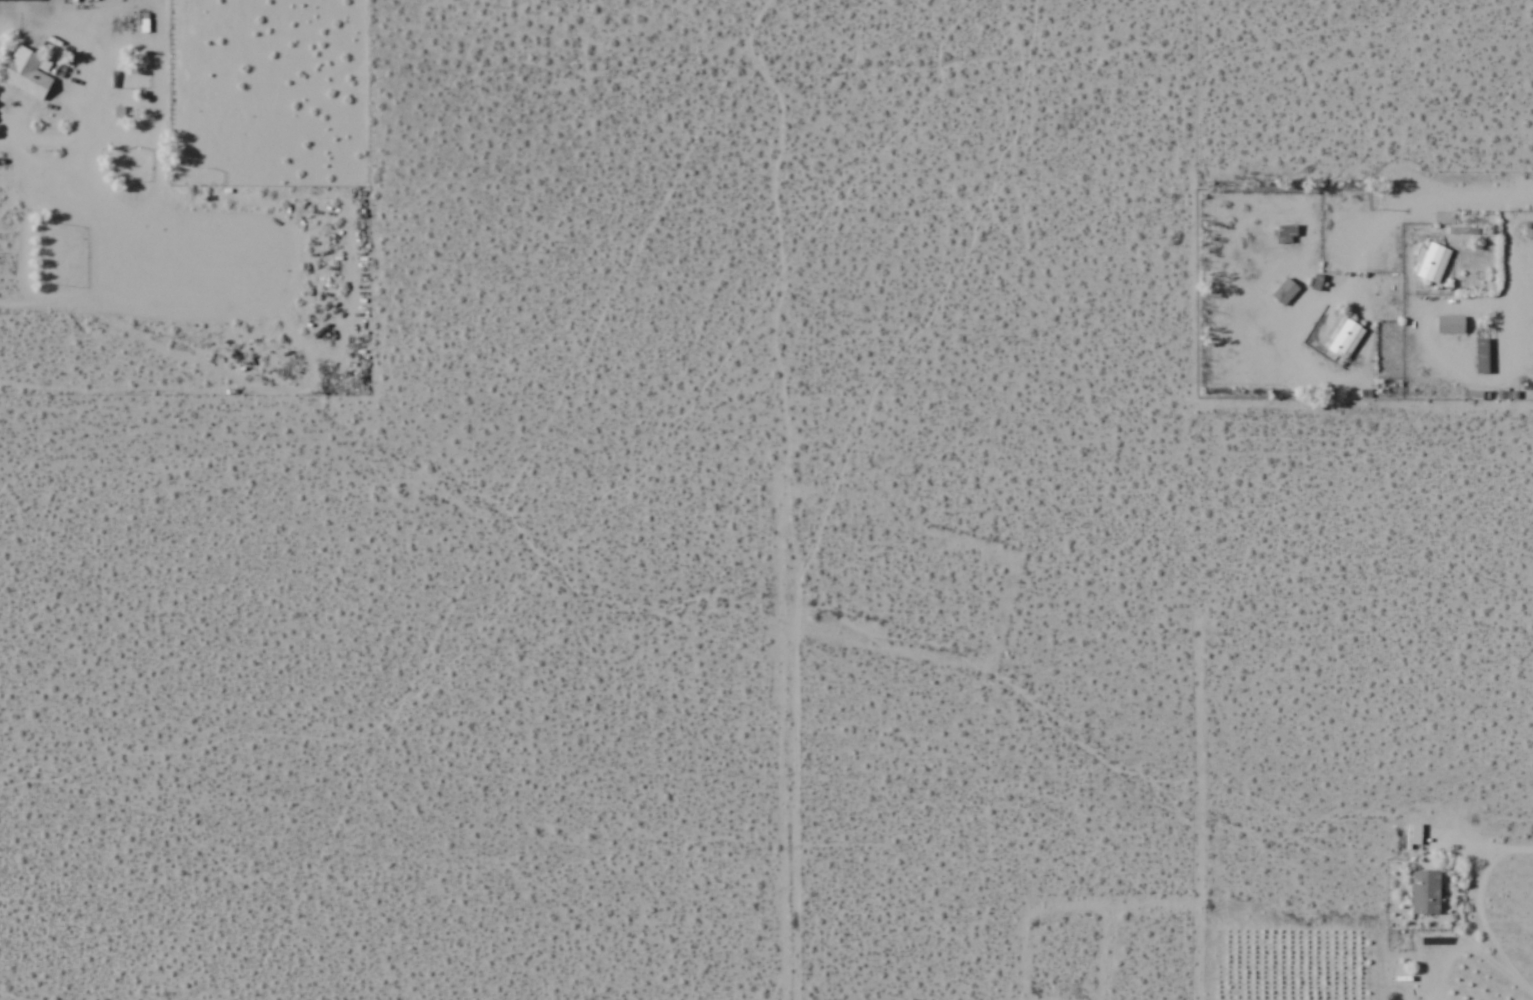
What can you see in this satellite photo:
building: (11, 17)
building: (26, 74)
road: (1463, 200)
building: (1285, 234)
building: (1432, 262)
building: (1283, 292)
building: (1449, 324)
building: (1343, 337)
building: (1480, 355)
building: (1425, 892)

